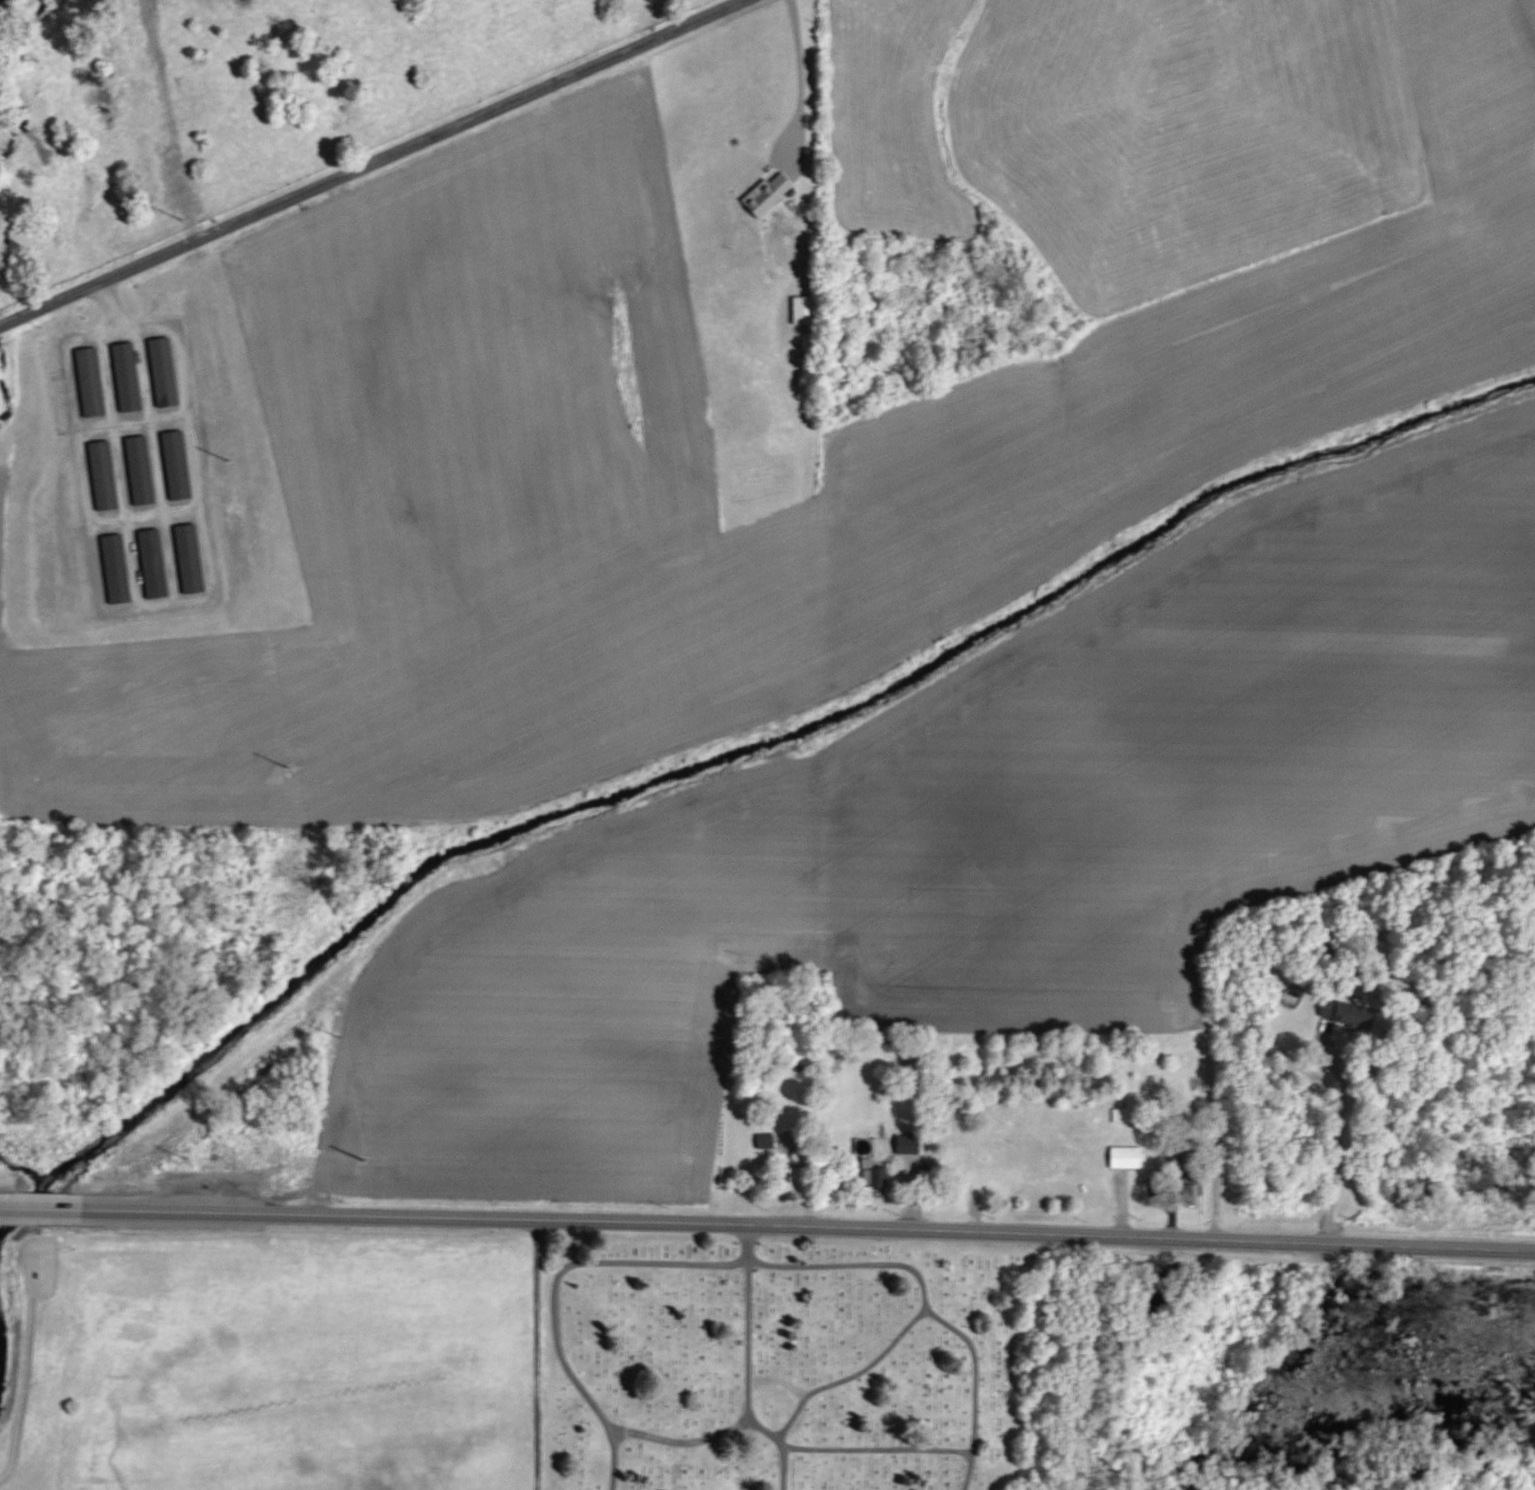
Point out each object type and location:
road: (800, 81)
road: (395, 155)
building: (806, 310)
road: (21, 318)
building: (166, 372)
building: (130, 377)
building: (93, 382)
building: (180, 464)
building: (143, 469)
building: (106, 475)
building: (193, 557)
road: (1336, 1134)
building: (764, 1141)
building: (912, 1143)
building: (1123, 1157)
building: (876, 1177)
building: (1191, 1186)
road: (767, 1232)
road: (746, 1246)
road: (555, 1294)
road: (923, 1303)
park: (777, 1365)
road: (750, 1383)

